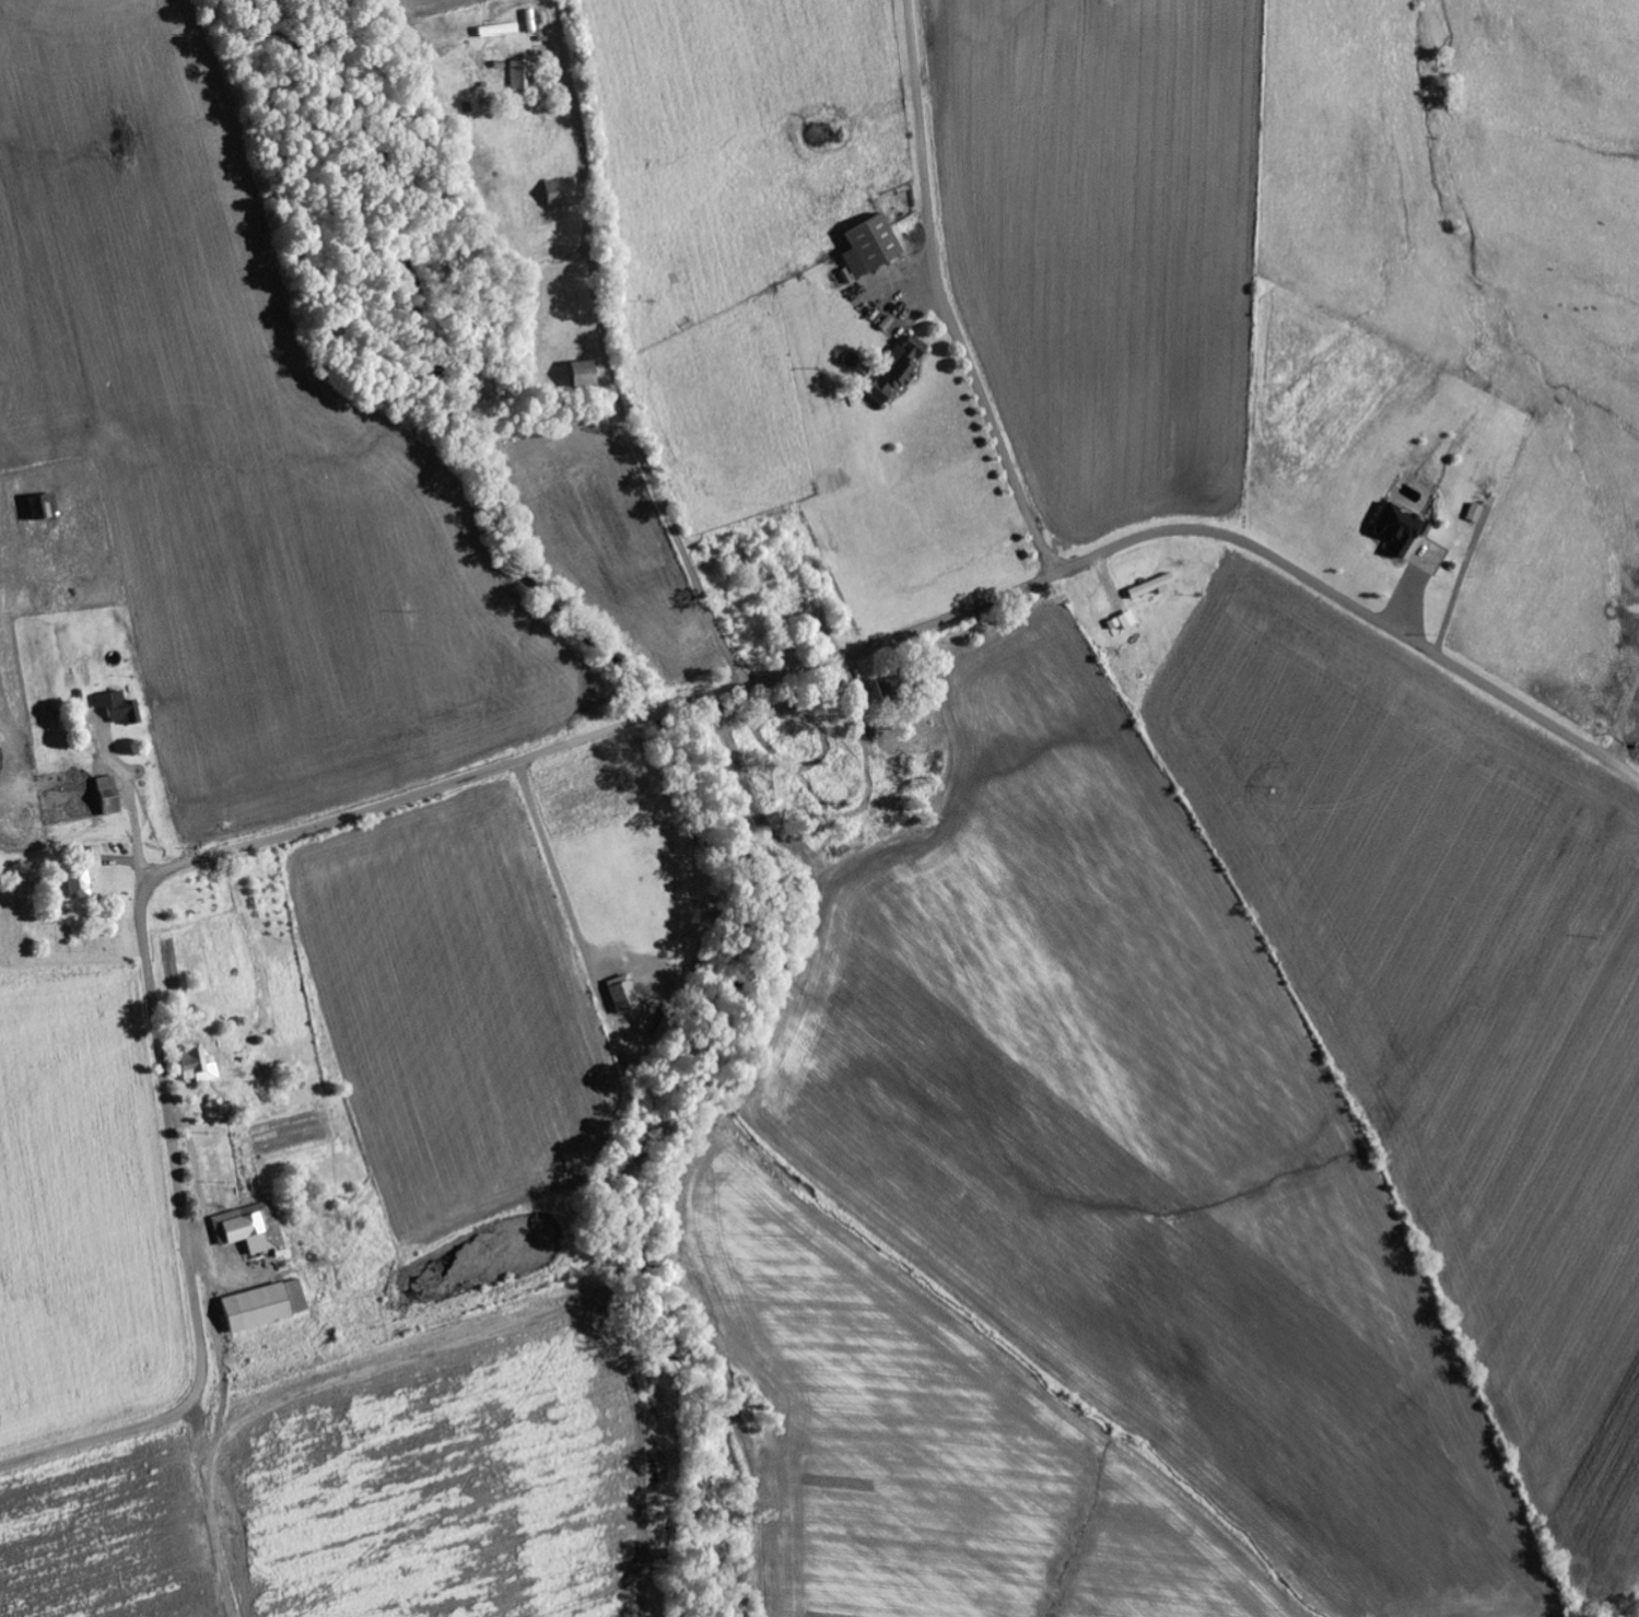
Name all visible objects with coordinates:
building: (523, 74)
building: (558, 192)
building: (871, 246)
road: (945, 296)
building: (899, 370)
building: (584, 374)
road: (612, 380)
building: (44, 505)
building: (1475, 514)
building: (1398, 529)
building: (1154, 588)
building: (1123, 622)
building: (118, 708)
road: (571, 743)
building: (108, 796)
building: (78, 884)
building: (624, 996)
building: (197, 1067)
building: (250, 1229)
building: (265, 1307)

